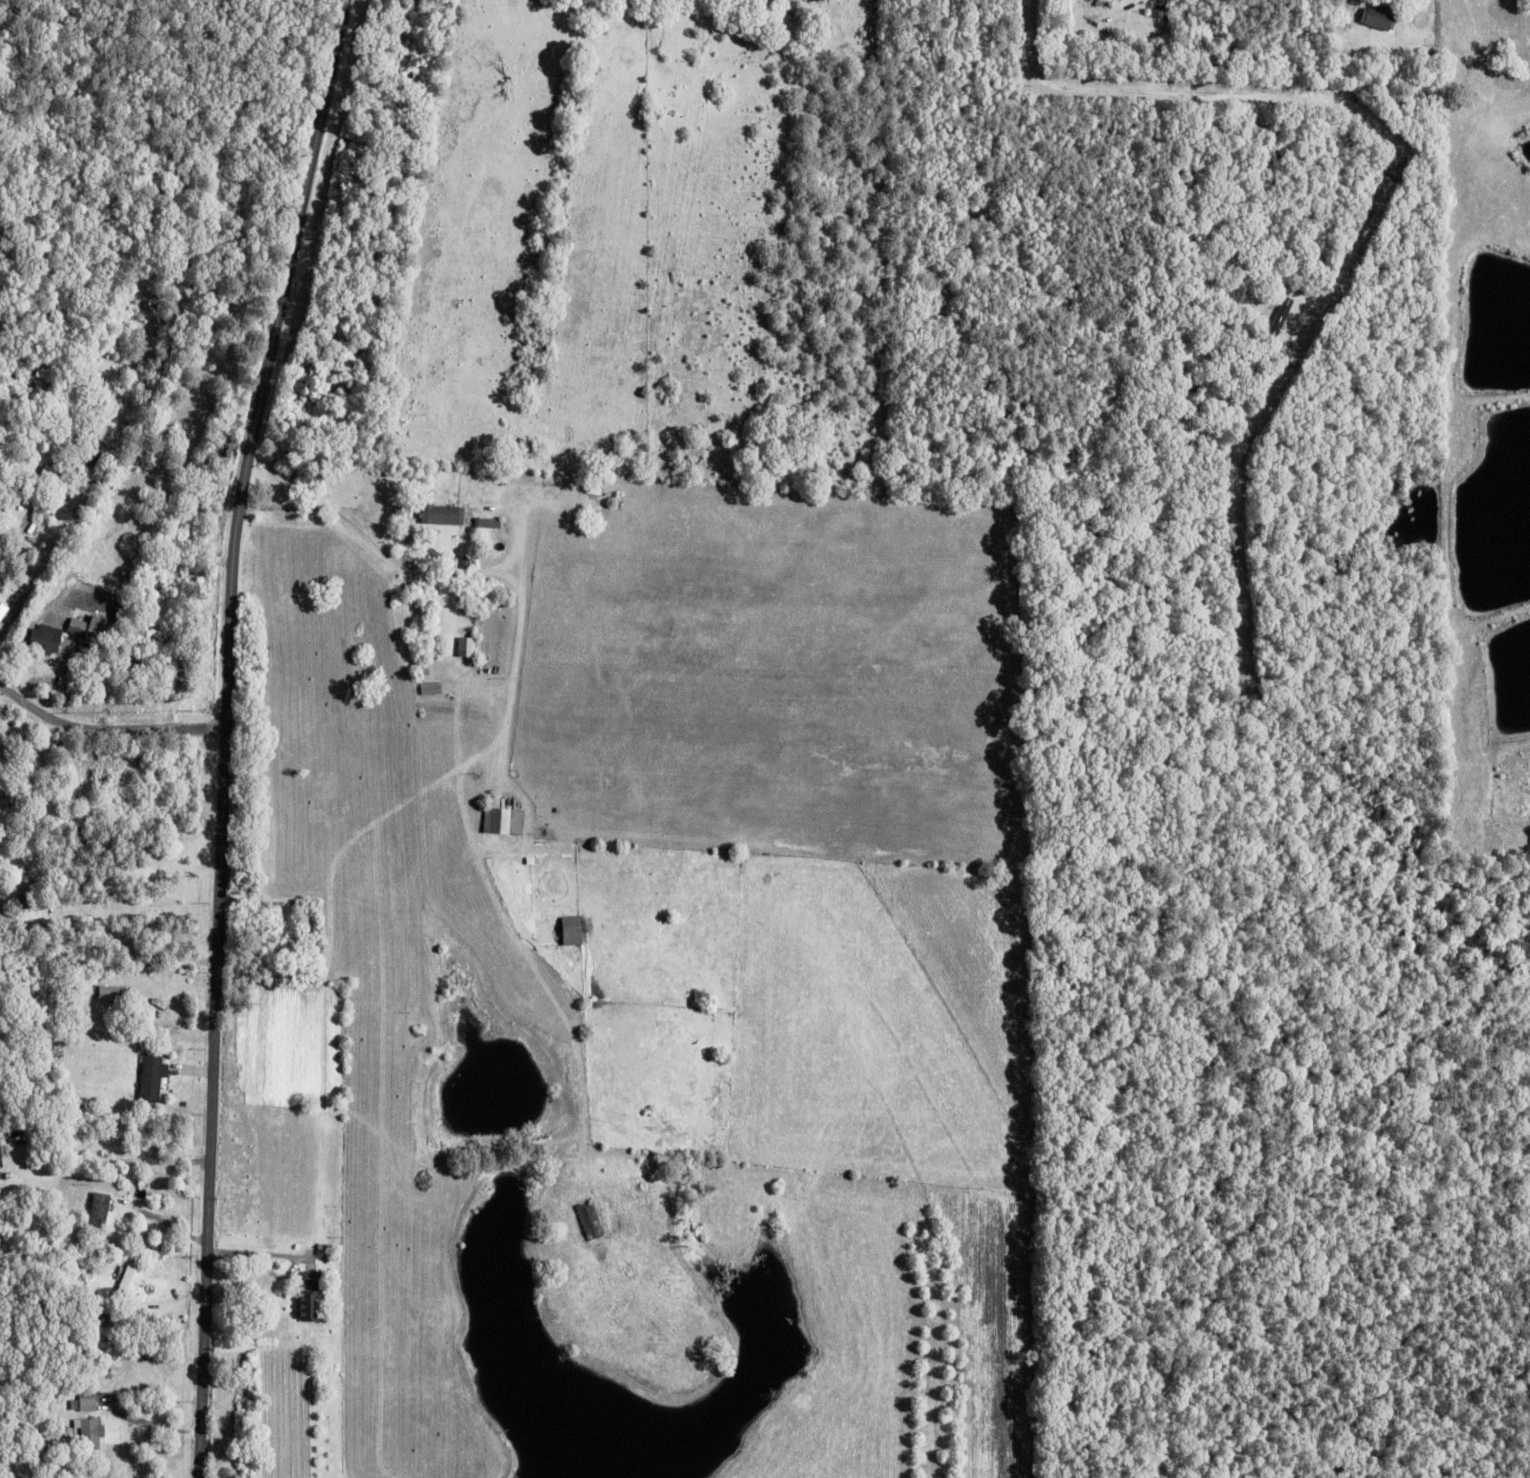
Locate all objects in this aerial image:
building: (1107, 4)
building: (1379, 18)
building: (1275, 317)
building: (223, 333)
building: (81, 404)
building: (223, 450)
building: (48, 480)
building: (65, 495)
building: (476, 510)
building: (443, 516)
building: (487, 524)
building: (467, 564)
building: (158, 586)
building: (166, 605)
building: (4, 611)
building: (88, 627)
building: (171, 638)
building: (47, 640)
building: (467, 649)
building: (14, 660)
building: (133, 670)
building: (179, 678)
building: (66, 680)
building: (483, 687)
building: (432, 689)
road: (108, 728)
road: (227, 733)
building: (498, 822)
building: (35, 853)
building: (26, 891)
building: (148, 897)
building: (309, 911)
building: (576, 929)
building: (112, 992)
building: (39, 1041)
building: (55, 1065)
building: (84, 1075)
building: (155, 1076)
building: (19, 1130)
building: (2, 1153)
building: (101, 1212)
building: (591, 1222)
building: (113, 1276)
building: (129, 1288)
building: (312, 1303)
building: (89, 1400)
building: (92, 1427)

